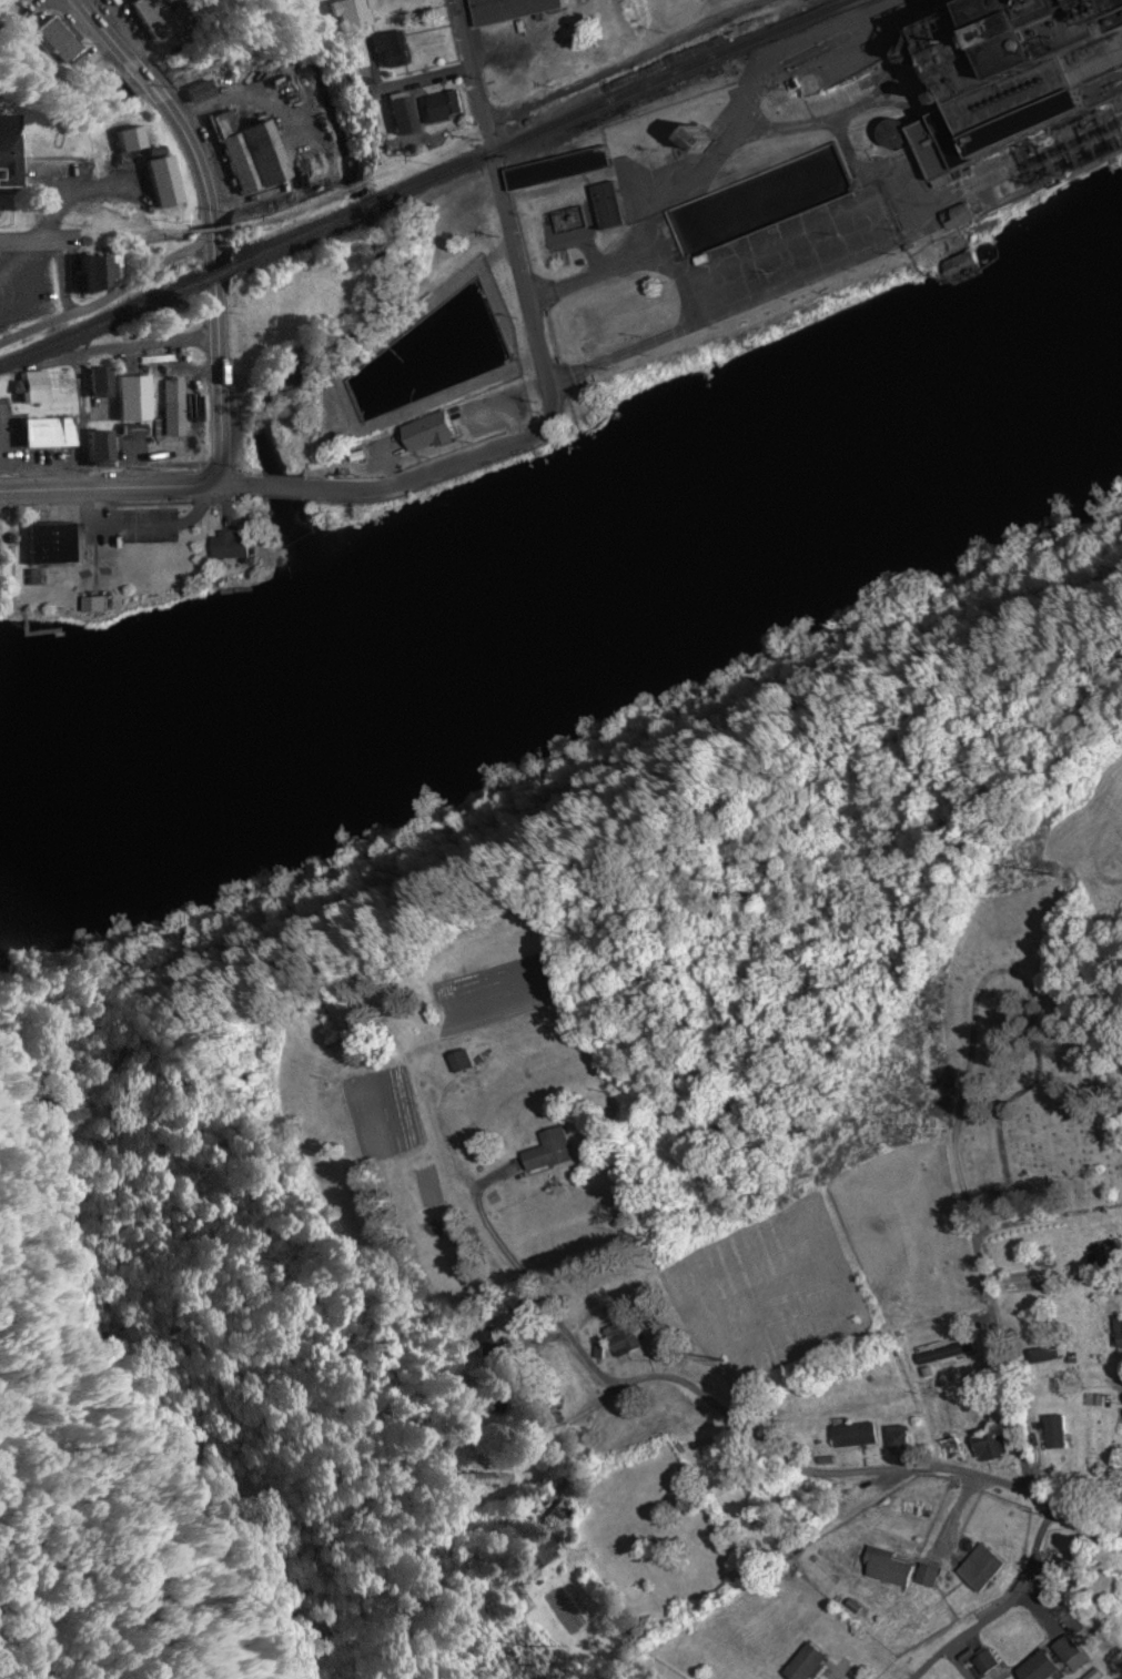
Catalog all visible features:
building: (509, 10)
building: (347, 14)
building: (154, 18)
road: (105, 31)
building: (55, 39)
building: (387, 51)
railway: (678, 73)
building: (1003, 74)
road: (146, 82)
building: (438, 108)
building: (395, 118)
building: (687, 140)
building: (246, 151)
building: (3, 152)
building: (554, 170)
railway: (437, 175)
power plant: (809, 182)
building: (1001, 188)
building: (604, 205)
railway: (367, 206)
building: (950, 216)
road: (507, 222)
road: (41, 237)
railway: (293, 239)
building: (960, 262)
building: (90, 273)
railway: (212, 273)
road: (216, 287)
road: (110, 300)
railway: (94, 326)
road: (131, 348)
building: (93, 383)
road: (80, 386)
building: (29, 387)
building: (170, 408)
building: (461, 413)
building: (46, 433)
building: (95, 449)
building: (396, 455)
road: (426, 473)
road: (111, 488)
road: (271, 488)
building: (49, 544)
building: (226, 547)
river: (568, 569)
building: (89, 605)
building: (459, 1061)
building: (548, 1151)
road: (987, 1268)
building: (1116, 1333)
building: (621, 1338)
building: (1042, 1355)
building: (1055, 1433)
building: (852, 1435)
building: (897, 1439)
road: (865, 1475)
building: (479, 1479)
building: (560, 1513)
building: (536, 1557)
building: (885, 1569)
building: (976, 1569)
building: (923, 1576)
road: (1004, 1605)
building: (1063, 1650)
building: (802, 1663)
building: (980, 1665)
building: (1034, 1668)

